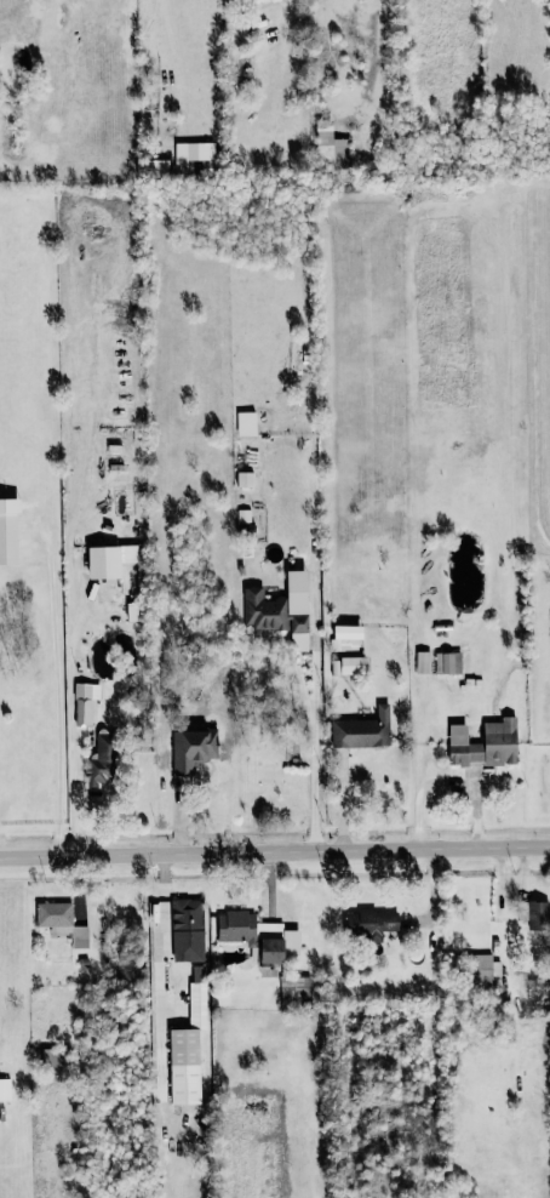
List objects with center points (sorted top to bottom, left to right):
road: (285, 34)
road: (402, 85)
building: (331, 147)
building: (194, 152)
building: (246, 423)
building: (245, 480)
building: (8, 531)
building: (130, 554)
building: (263, 610)
building: (346, 638)
building: (423, 662)
building: (448, 663)
building: (349, 666)
road: (58, 702)
building: (85, 703)
building: (362, 731)
building: (483, 745)
building: (190, 752)
road: (311, 753)
building: (101, 764)
road: (274, 851)
building: (538, 915)
building: (62, 922)
building: (371, 924)
building: (188, 930)
building: (258, 936)
building: (482, 969)
building: (294, 987)
building: (188, 1050)
building: (52, 1060)
building: (5, 1090)

